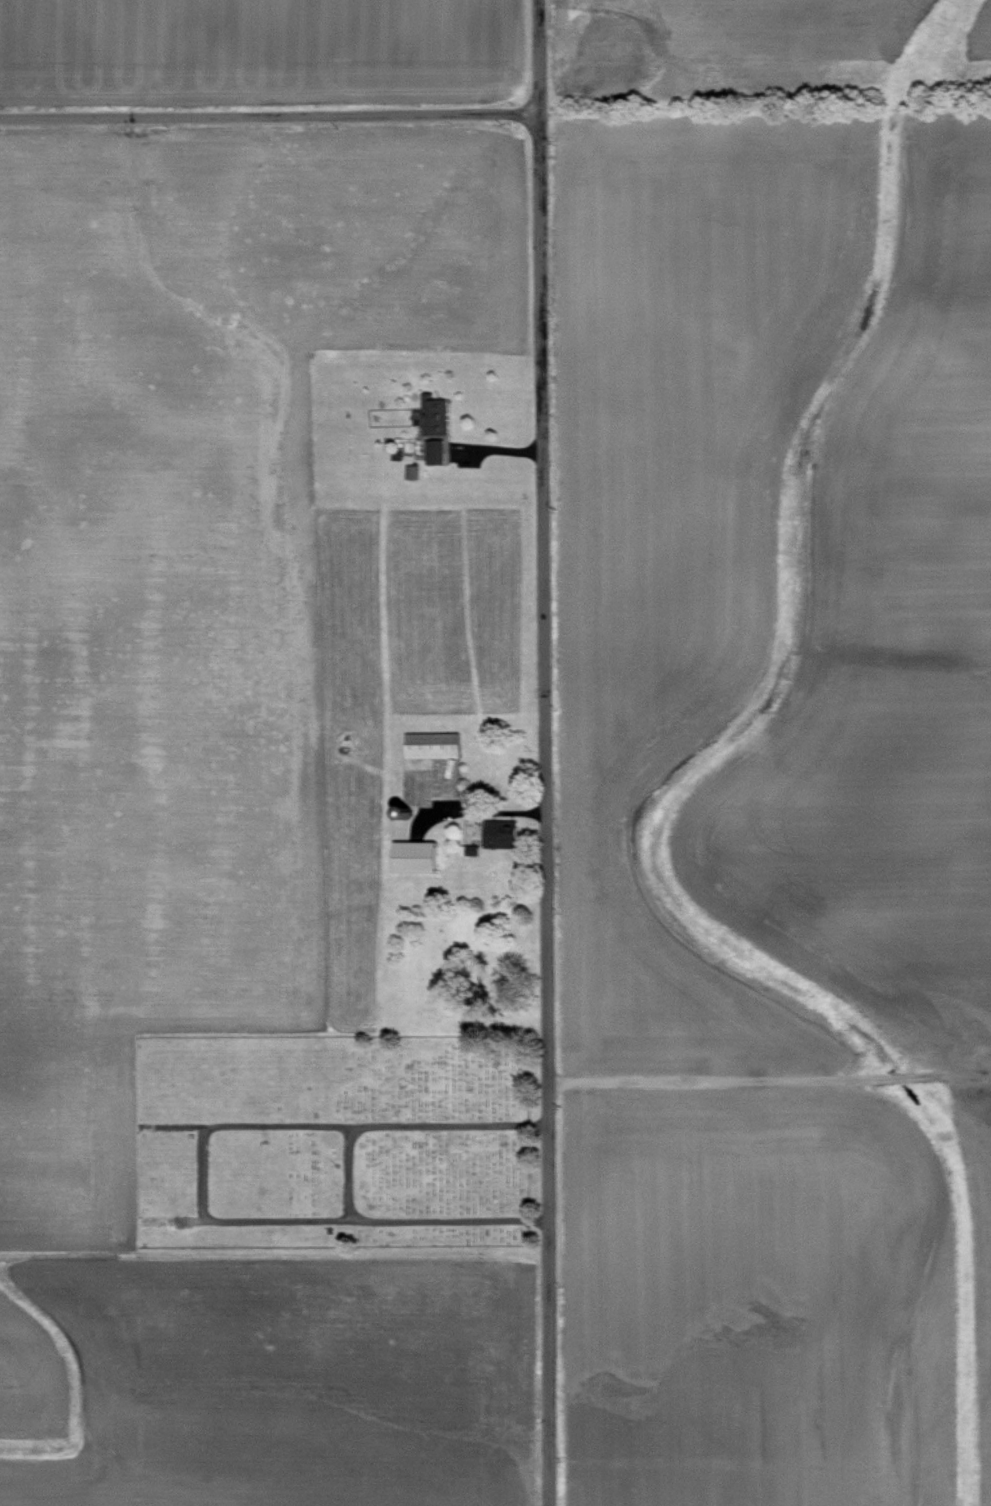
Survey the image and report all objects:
road: (266, 116)
building: (432, 415)
building: (434, 451)
building: (410, 471)
building: (431, 743)
road: (542, 752)
road: (501, 812)
building: (499, 832)
building: (413, 855)
road: (767, 1079)

